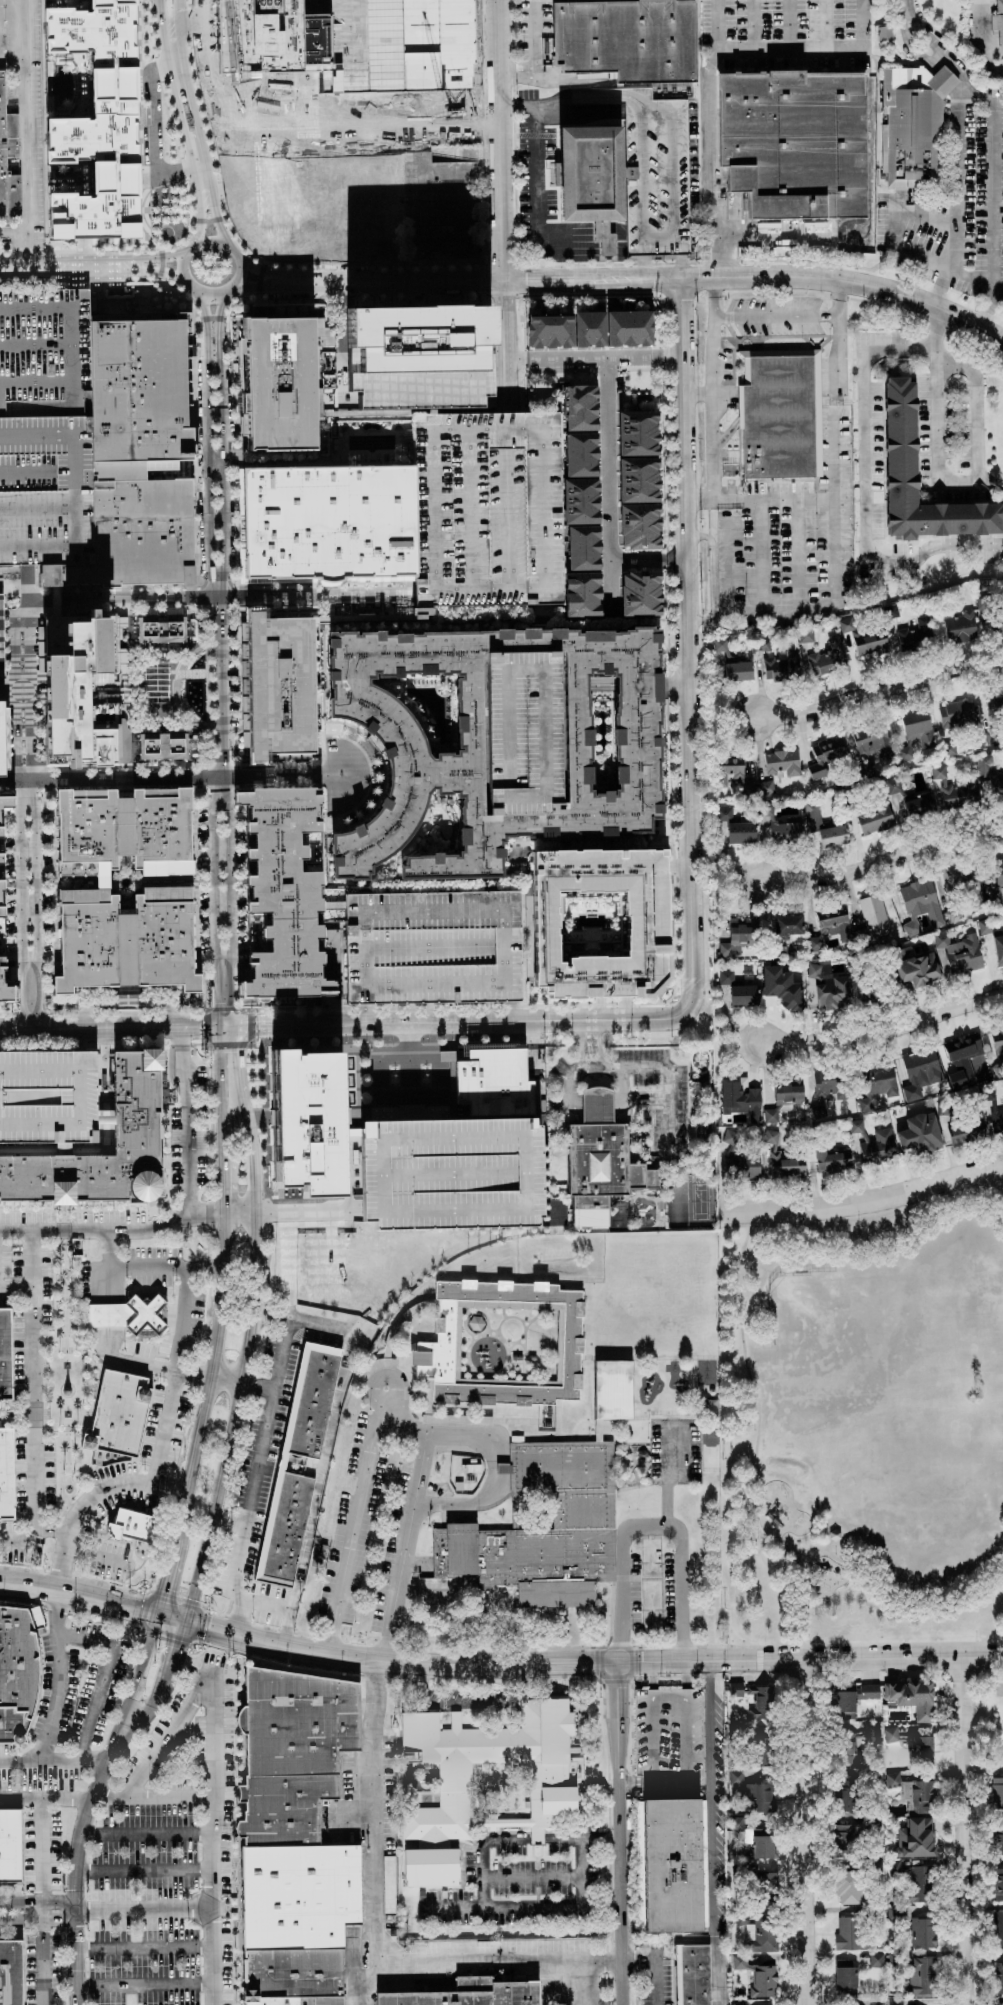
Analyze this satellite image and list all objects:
building: (998, 19)
road: (789, 24)
road: (172, 35)
parking lot: (795, 35)
parking lot: (534, 38)
road: (859, 38)
road: (981, 38)
building: (626, 39)
road: (939, 48)
road: (770, 49)
road: (534, 57)
road: (18, 62)
road: (1002, 70)
road: (515, 76)
building: (79, 109)
road: (185, 117)
building: (2, 122)
road: (154, 129)
road: (36, 132)
building: (922, 133)
road: (497, 141)
building: (12, 143)
building: (804, 150)
road: (710, 163)
road: (537, 170)
building: (594, 175)
road: (959, 176)
building: (667, 178)
parking lot: (667, 178)
road: (996, 201)
parking lot: (967, 205)
road: (460, 207)
road: (423, 208)
road: (215, 219)
road: (202, 221)
road: (895, 228)
road: (772, 237)
road: (346, 247)
road: (236, 257)
road: (105, 263)
road: (52, 264)
road: (259, 271)
road: (795, 276)
road: (970, 279)
road: (539, 282)
road: (257, 283)
road: (390, 283)
road: (941, 290)
road: (787, 318)
road: (206, 323)
road: (218, 324)
building: (589, 329)
building: (419, 338)
road: (508, 338)
road: (672, 356)
road: (593, 357)
road: (517, 358)
road: (834, 364)
building: (274, 382)
road: (709, 388)
road: (696, 394)
building: (778, 414)
road: (977, 415)
building: (42, 428)
parking lot: (42, 428)
road: (937, 431)
building: (904, 443)
building: (135, 454)
road: (866, 464)
building: (638, 479)
road: (610, 482)
road: (757, 499)
building: (579, 500)
building: (485, 506)
parking lot: (485, 506)
building: (326, 523)
road: (795, 555)
road: (672, 559)
road: (759, 560)
road: (197, 572)
road: (710, 578)
road: (23, 582)
road: (321, 583)
road: (217, 585)
building: (11, 587)
road: (411, 589)
road: (313, 593)
building: (640, 593)
road: (206, 596)
road: (118, 597)
road: (816, 607)
road: (325, 617)
building: (995, 624)
building: (961, 628)
building: (160, 629)
building: (805, 635)
building: (865, 636)
building: (1, 639)
road: (685, 645)
building: (722, 648)
building: (828, 656)
fountain: (199, 663)
building: (781, 666)
building: (738, 671)
road: (192, 672)
fountain: (193, 686)
building: (277, 686)
building: (80, 688)
park: (170, 688)
road: (176, 689)
road: (208, 690)
road: (879, 690)
road: (216, 693)
fountain: (194, 696)
fountain: (198, 704)
building: (955, 714)
building: (917, 727)
parking garage: (522, 731)
building: (2, 732)
building: (493, 738)
building: (873, 741)
building: (160, 745)
building: (825, 755)
building: (782, 762)
building: (728, 768)
road: (174, 777)
road: (17, 780)
building: (973, 781)
road: (29, 784)
building: (766, 787)
building: (919, 804)
building: (874, 818)
building: (781, 825)
building: (823, 825)
building: (121, 826)
building: (737, 826)
road: (882, 863)
building: (67, 868)
road: (212, 880)
road: (117, 882)
road: (28, 883)
building: (996, 886)
building: (281, 890)
building: (5, 901)
building: (919, 904)
building: (873, 920)
building: (644, 923)
building: (788, 925)
building: (829, 926)
building: (985, 926)
building: (739, 935)
building: (126, 939)
building: (434, 947)
parking lot: (434, 947)
building: (998, 948)
building: (960, 953)
building: (916, 972)
building: (726, 977)
building: (828, 986)
building: (782, 987)
building: (744, 994)
road: (26, 998)
road: (128, 1000)
road: (513, 1012)
road: (364, 1014)
road: (344, 1024)
road: (883, 1032)
road: (237, 1043)
building: (998, 1043)
road: (178, 1044)
road: (596, 1046)
road: (581, 1047)
building: (962, 1057)
road: (268, 1061)
building: (700, 1063)
road: (592, 1065)
road: (651, 1067)
building: (920, 1072)
road: (343, 1077)
building: (493, 1082)
building: (877, 1084)
road: (622, 1091)
building: (48, 1095)
parking lot: (48, 1095)
road: (646, 1096)
building: (784, 1096)
building: (741, 1098)
building: (136, 1103)
building: (819, 1109)
road: (213, 1117)
building: (996, 1118)
road: (184, 1120)
building: (307, 1121)
road: (671, 1123)
building: (856, 1125)
park: (702, 1130)
building: (965, 1132)
building: (920, 1133)
building: (878, 1147)
building: (832, 1158)
building: (600, 1160)
building: (782, 1160)
building: (451, 1173)
parking lot: (451, 1173)
road: (168, 1176)
park: (700, 1200)
park: (677, 1201)
road: (864, 1201)
road: (290, 1211)
building: (643, 1211)
road: (63, 1214)
road: (863, 1217)
road: (64, 1229)
road: (119, 1230)
road: (16, 1287)
road: (65, 1294)
building: (130, 1314)
road: (290, 1317)
road: (23, 1324)
road: (239, 1325)
road: (184, 1328)
building: (490, 1334)
road: (12, 1350)
building: (5, 1355)
road: (142, 1364)
park: (70, 1370)
road: (44, 1374)
road: (204, 1375)
road: (35, 1380)
road: (250, 1383)
road: (154, 1385)
road: (90, 1386)
road: (95, 1386)
building: (613, 1389)
road: (14, 1407)
road: (7, 1413)
road: (34, 1413)
building: (120, 1413)
road: (15, 1419)
park: (862, 1425)
road: (380, 1426)
road: (54, 1427)
building: (297, 1453)
road: (67, 1454)
road: (753, 1456)
road: (25, 1466)
road: (103, 1466)
building: (6, 1474)
road: (253, 1474)
road: (672, 1475)
road: (13, 1476)
road: (125, 1481)
road: (62, 1487)
road: (68, 1500)
road: (60, 1509)
road: (224, 1518)
road: (76, 1520)
building: (544, 1522)
road: (652, 1523)
building: (133, 1525)
road: (59, 1532)
road: (403, 1543)
road: (830, 1545)
road: (96, 1556)
road: (804, 1591)
road: (277, 1607)
road: (903, 1615)
traffic signals: (179, 1618)
road: (497, 1662)
road: (112, 1665)
building: (14, 1669)
building: (736, 1690)
building: (869, 1691)
building: (912, 1697)
building: (844, 1704)
road: (51, 1718)
building: (871, 1729)
building: (890, 1734)
road: (169, 1735)
building: (669, 1737)
parking garage: (669, 1737)
building: (851, 1744)
building: (920, 1747)
building: (290, 1748)
building: (758, 1750)
road: (18, 1758)
building: (844, 1788)
building: (558, 1789)
building: (754, 1792)
building: (997, 1792)
road: (151, 1794)
building: (921, 1794)
road: (43, 1799)
road: (88, 1800)
road: (966, 1830)
road: (715, 1831)
road: (808, 1831)
road: (146, 1832)
road: (621, 1833)
road: (539, 1836)
road: (584, 1837)
building: (915, 1837)
building: (846, 1838)
road: (212, 1839)
building: (999, 1839)
building: (762, 1842)
building: (10, 1845)
road: (44, 1849)
building: (674, 1864)
road: (144, 1868)
road: (534, 1877)
building: (389, 1883)
building: (920, 1883)
building: (998, 1884)
building: (847, 1886)
building: (298, 1895)
road: (38, 1899)
road: (510, 1906)
road: (43, 1908)
road: (144, 1910)
road: (38, 1917)
building: (998, 1927)
road: (375, 1931)
building: (848, 1932)
building: (922, 1932)
building: (762, 1933)
road: (678, 1938)
road: (144, 1948)
building: (876, 1959)
road: (41, 1961)
building: (844, 1962)
road: (655, 1965)
building: (10, 1973)
building: (293, 1973)
building: (695, 1974)
building: (922, 1975)
building: (757, 1976)
building: (845, 1977)
building: (998, 1977)
road: (144, 1984)
building: (466, 1994)
building: (268, 2002)

